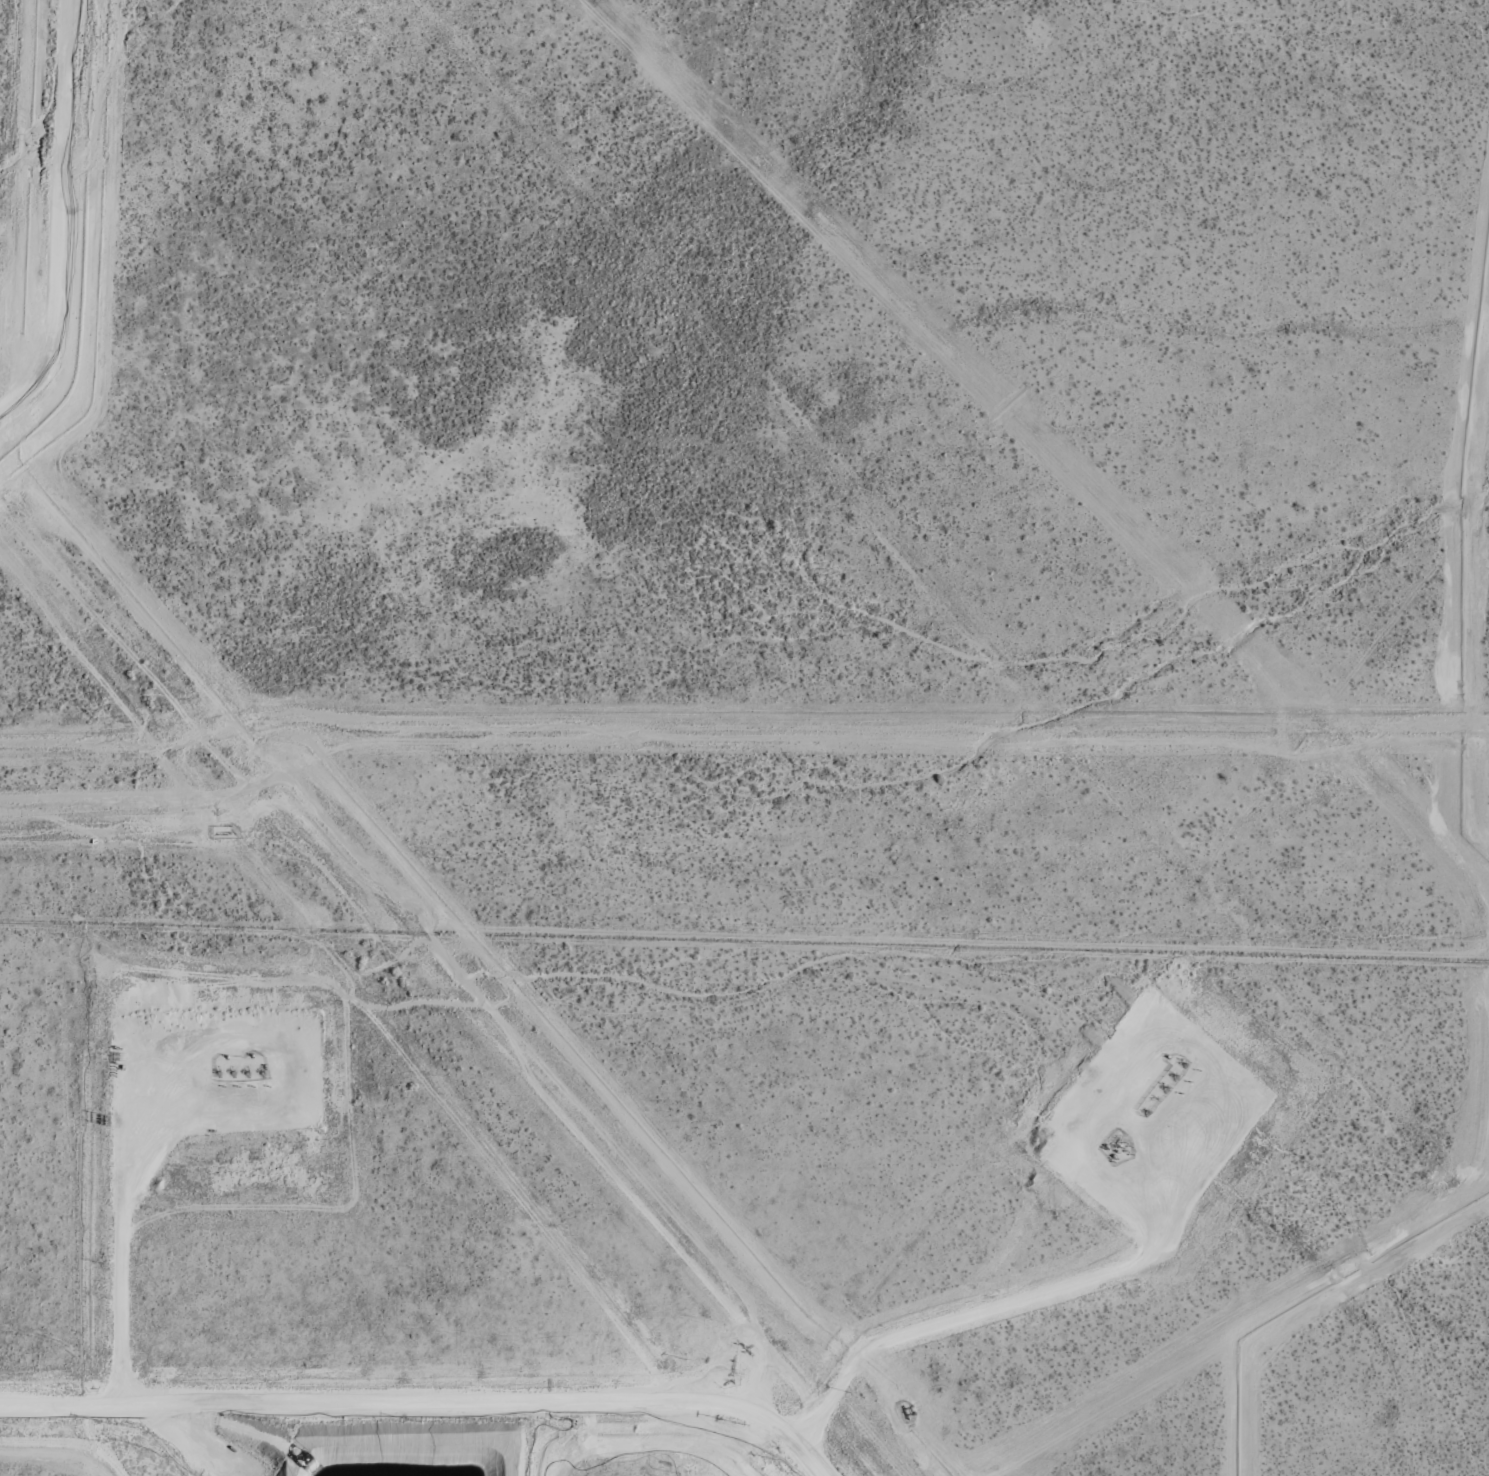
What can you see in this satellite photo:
road: (50, 214)
petroleum well: (1183, 1061)
petroleum well: (217, 1070)
petroleum well: (232, 1070)
petroleum well: (246, 1070)
petroleum well: (261, 1070)
petroleum well: (1174, 1073)
petroleum well: (1164, 1085)
petroleum well: (1154, 1097)
petroleum well: (1145, 1110)
road: (143, 1140)
road: (1057, 1286)
road: (439, 1397)

